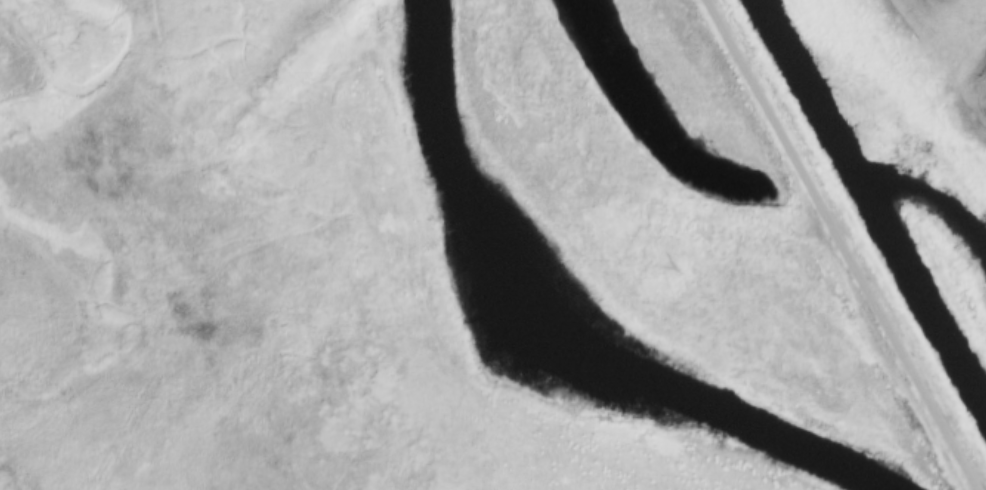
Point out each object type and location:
river: (873, 205)
road: (845, 245)
river: (562, 323)

